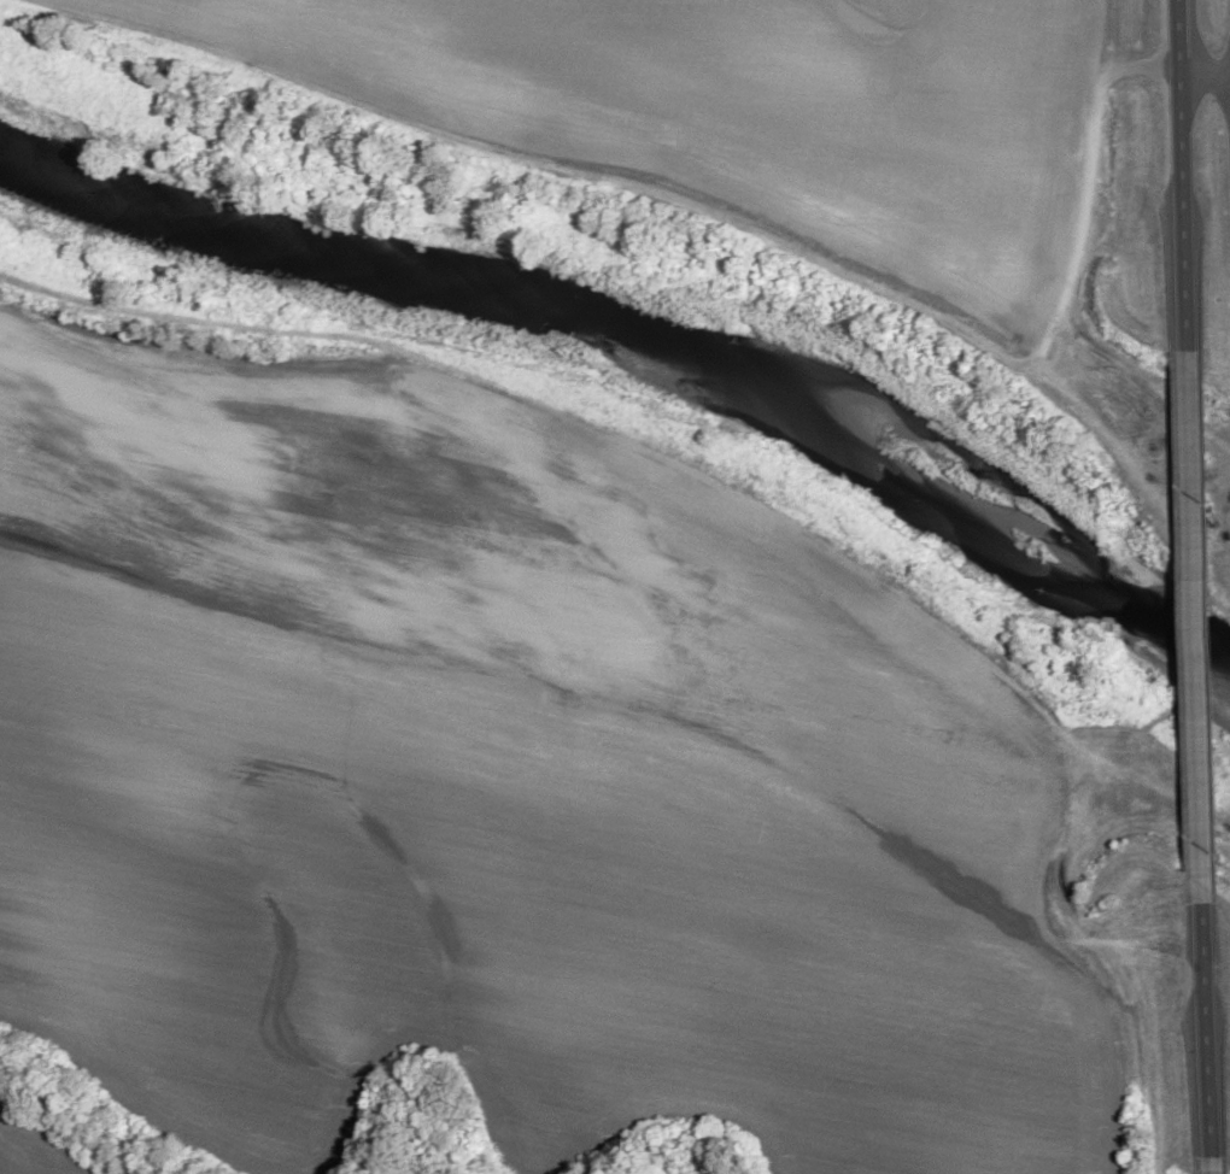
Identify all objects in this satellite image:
road: (1182, 42)
road: (1207, 83)
road: (1188, 218)
river: (638, 360)
road: (1199, 628)
road: (1212, 1031)
road: (1217, 1166)

